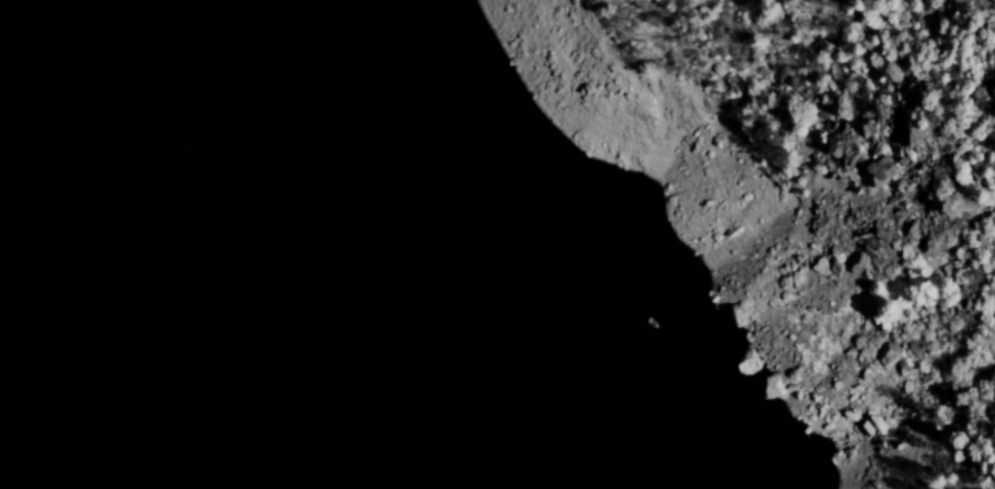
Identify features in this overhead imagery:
river: (90, 244)

